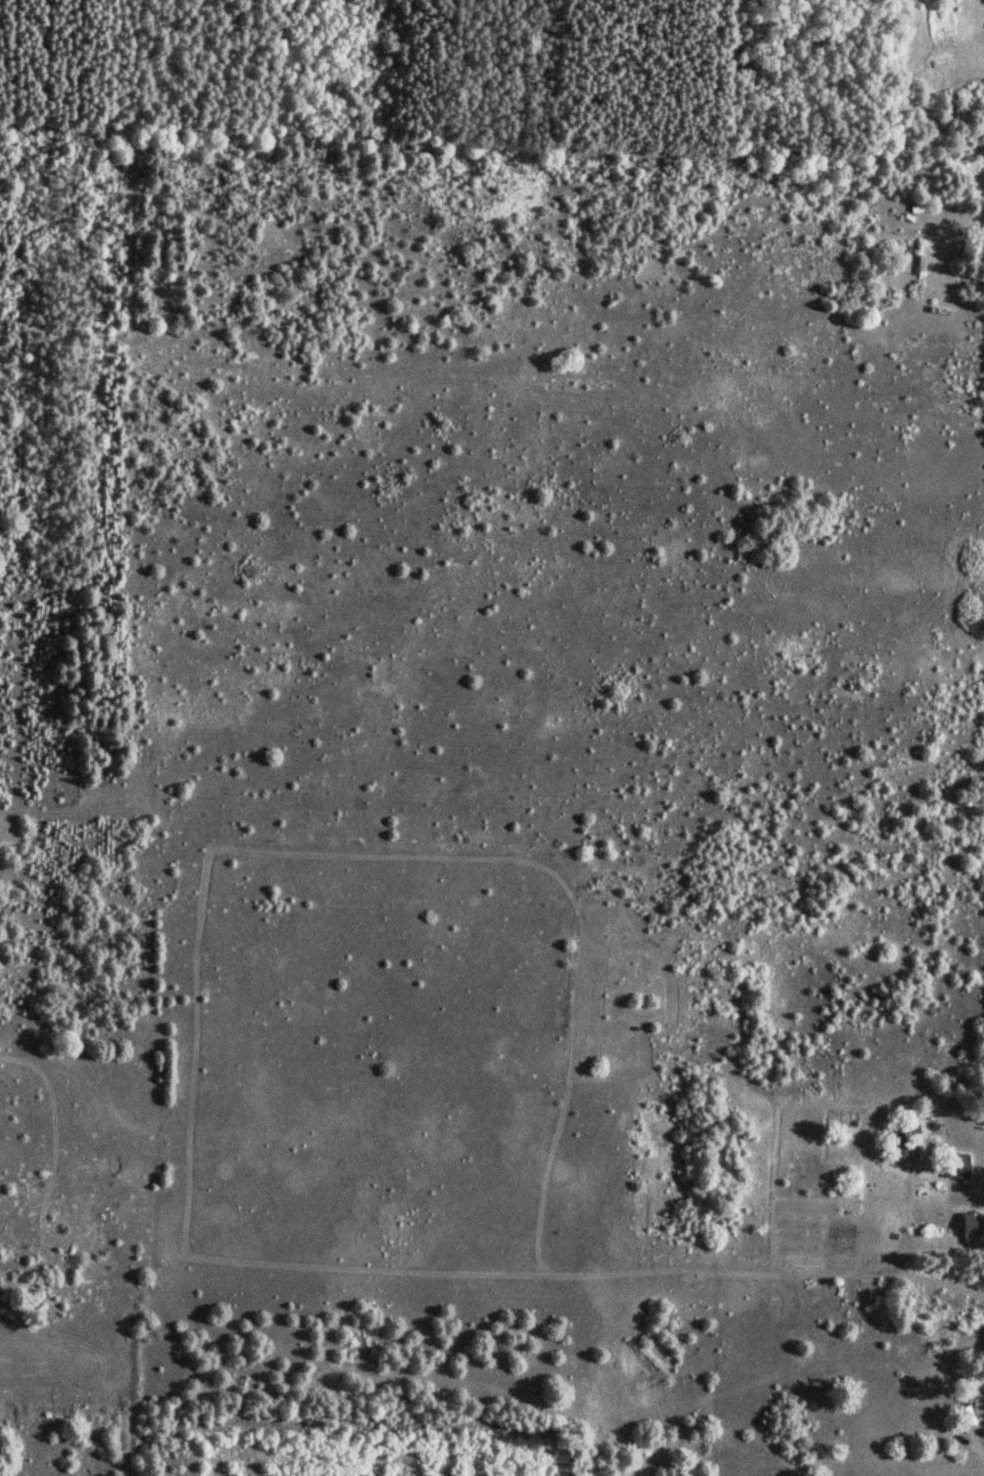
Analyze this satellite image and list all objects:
building: (920, 259)
building: (900, 1141)
building: (954, 1166)
building: (971, 1225)
road: (824, 1389)

